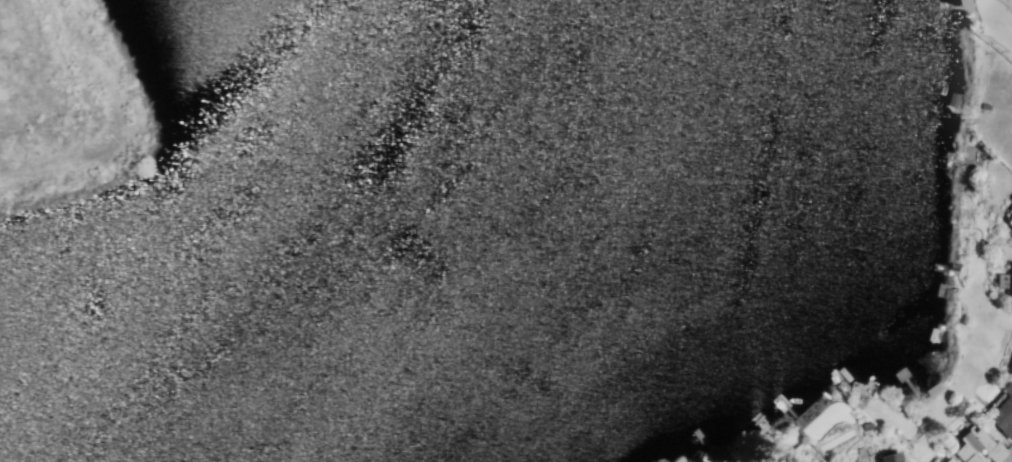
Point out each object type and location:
building: (950, 99)
crop: (44, 106)
building: (1011, 199)
building: (1008, 221)
building: (952, 265)
building: (1004, 281)
building: (1010, 370)
building: (1003, 412)
building: (865, 425)
building: (977, 446)
building: (886, 456)
building: (935, 460)
building: (948, 460)
building: (774, 461)

